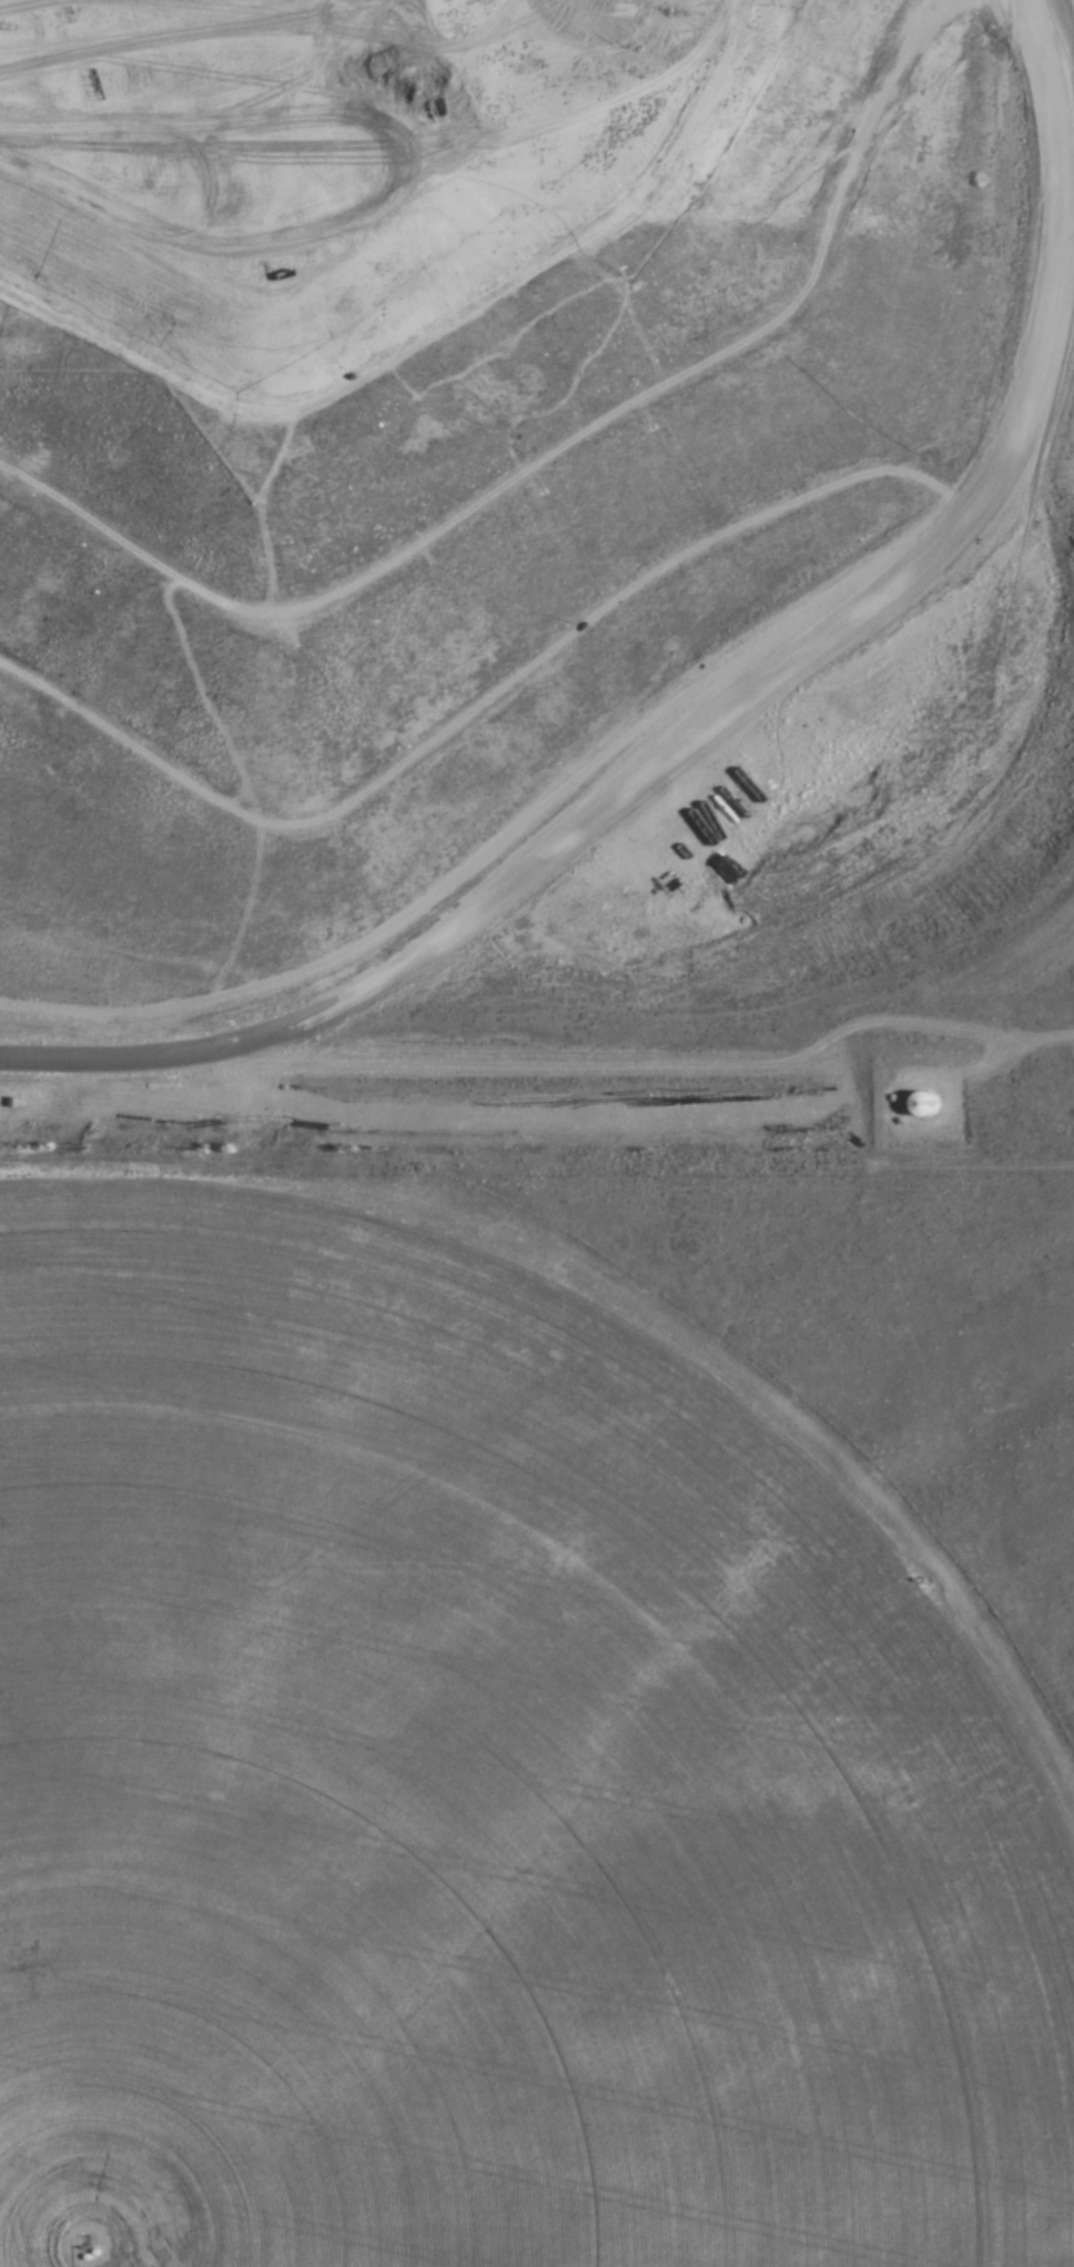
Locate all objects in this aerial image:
building: (920, 1104)
crop: (476, 1795)

